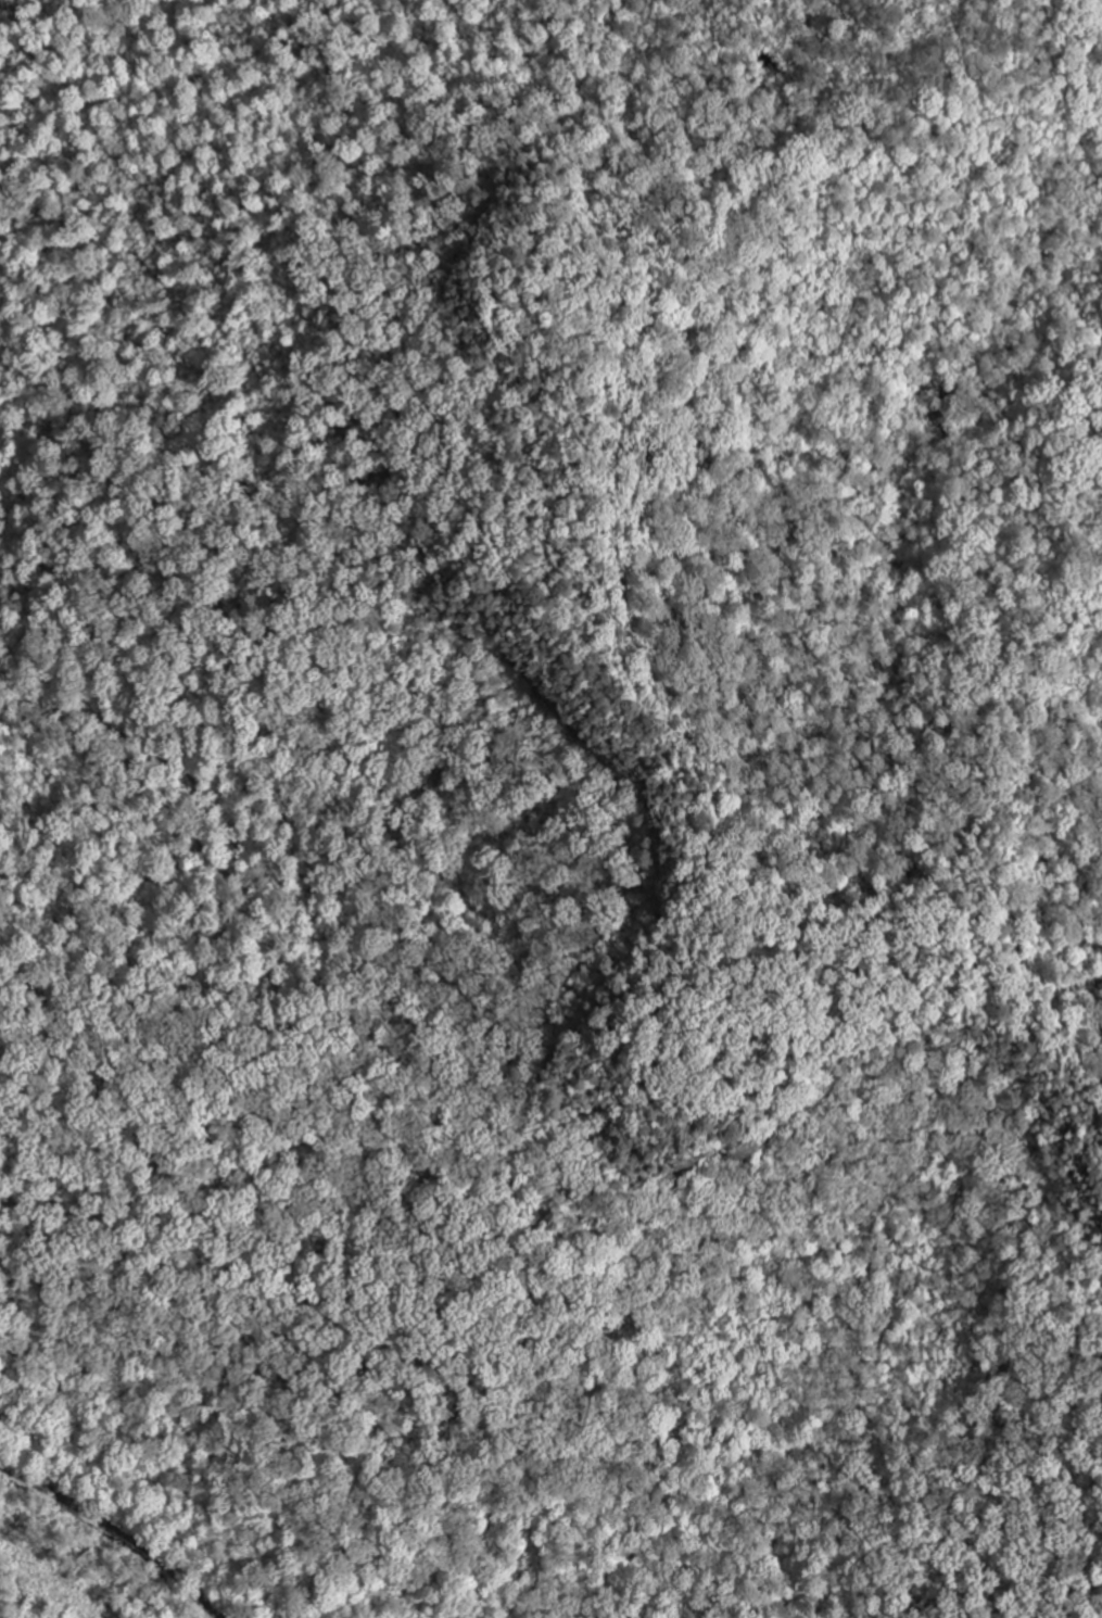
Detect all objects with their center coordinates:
road: (118, 1534)

